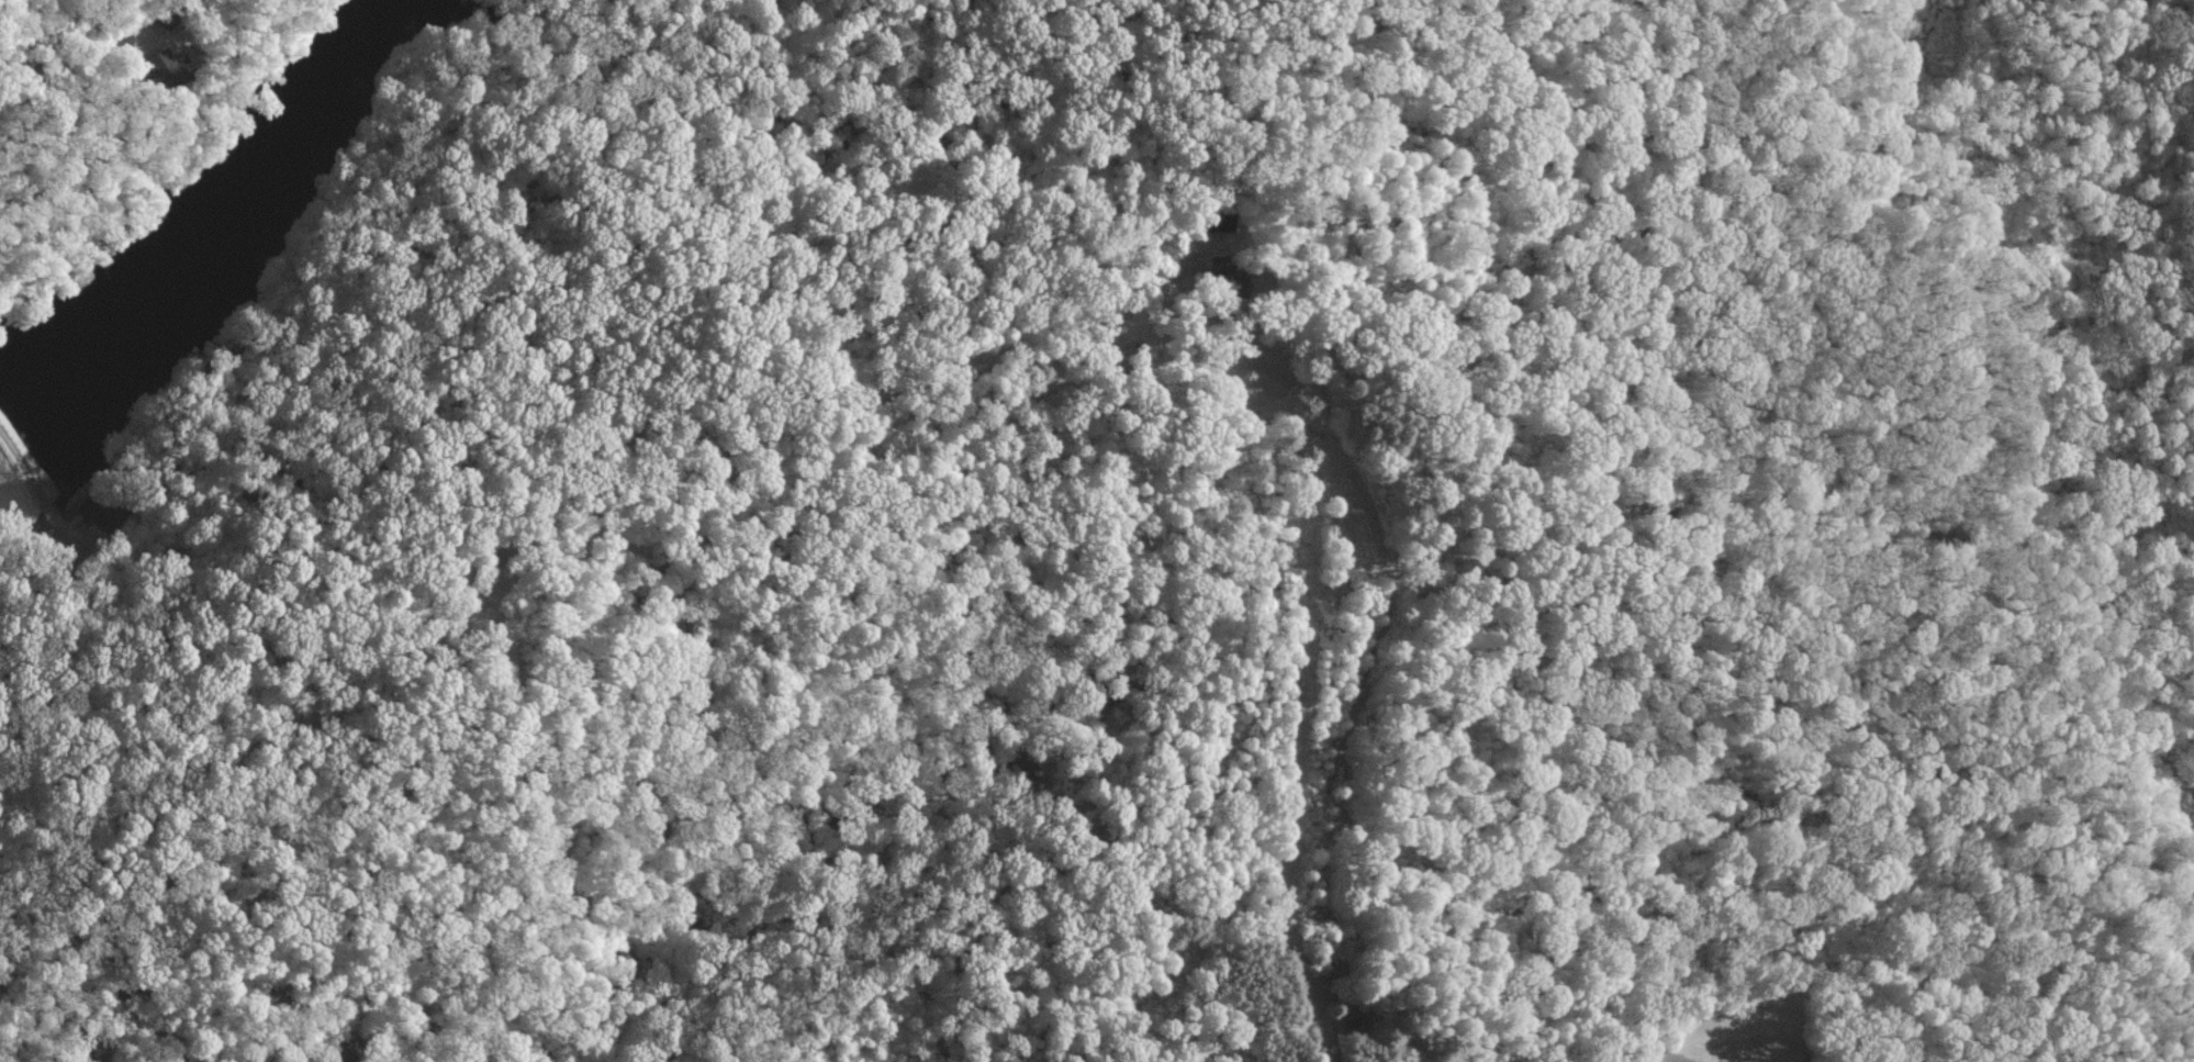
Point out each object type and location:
building: (170, 65)
road: (64, 69)
road: (1245, 122)
building: (1216, 220)
road: (486, 579)

